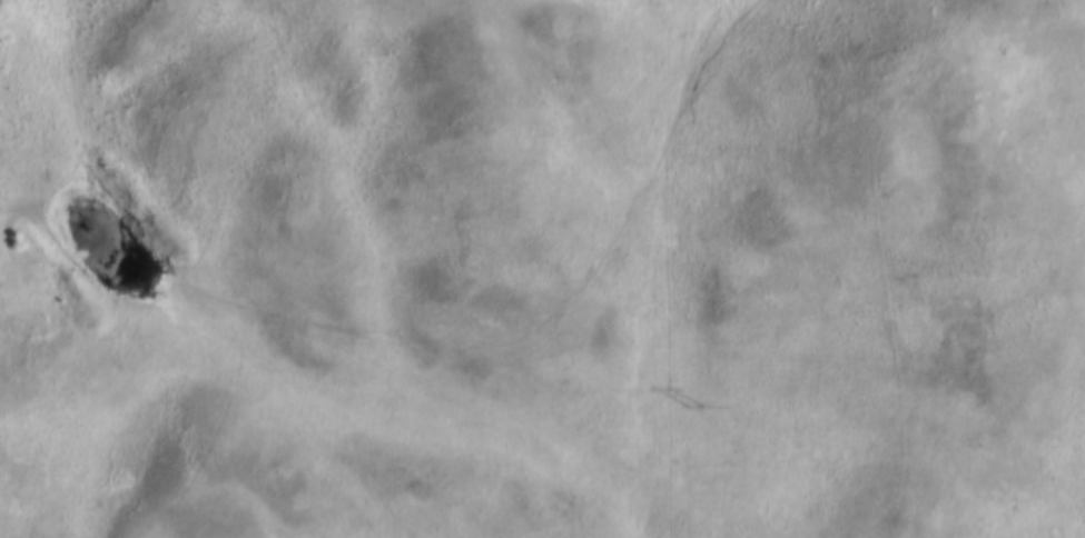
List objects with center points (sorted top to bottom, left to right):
power tower: (691, 409)

